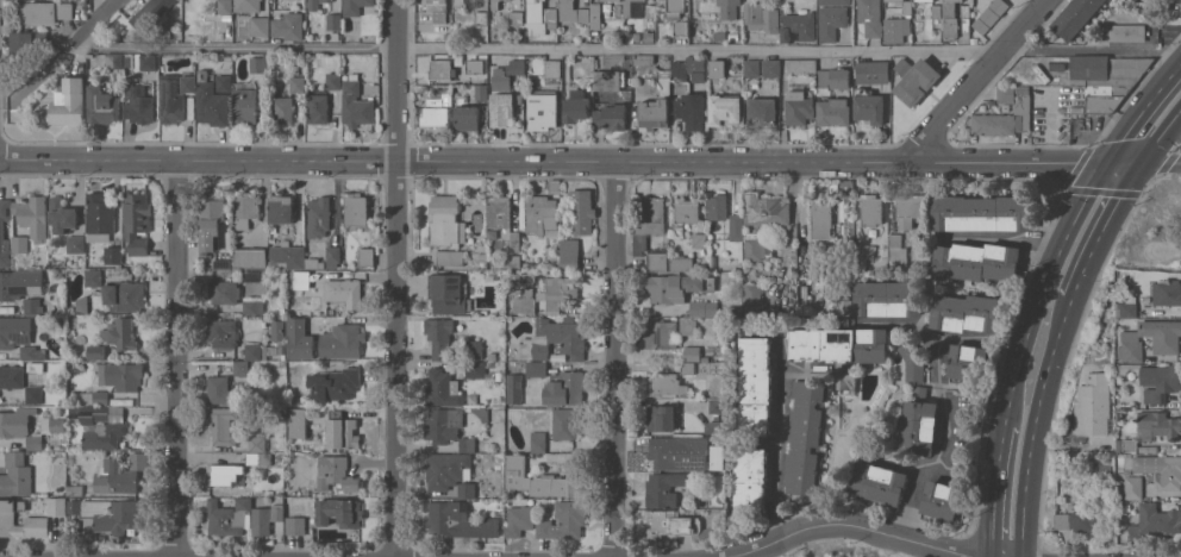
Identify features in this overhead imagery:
building: (924, 0)
building: (460, 2)
building: (835, 2)
building: (315, 4)
building: (495, 4)
building: (246, 6)
building: (355, 6)
building: (906, 6)
building: (671, 7)
building: (225, 8)
building: (626, 8)
building: (729, 8)
building: (437, 10)
building: (1170, 11)
building: (573, 12)
building: (650, 12)
building: (937, 12)
building: (44, 13)
building: (150, 13)
building: (989, 15)
building: (535, 17)
building: (551, 17)
building: (595, 17)
building: (761, 17)
building: (870, 17)
building: (1075, 17)
building: (482, 18)
building: (515, 18)
building: (955, 18)
road: (96, 21)
building: (335, 21)
building: (831, 21)
building: (801, 24)
building: (260, 26)
building: (289, 26)
building: (896, 29)
building: (681, 30)
building: (1126, 32)
building: (720, 36)
building: (649, 37)
building: (26, 44)
road: (627, 49)
building: (643, 58)
building: (114, 61)
building: (148, 62)
building: (260, 64)
building: (475, 67)
building: (515, 67)
building: (552, 67)
building: (717, 67)
building: (801, 67)
building: (902, 67)
building: (752, 68)
building: (770, 68)
building: (687, 69)
building: (1107, 69)
building: (442, 70)
building: (873, 71)
building: (833, 77)
building: (333, 79)
building: (500, 80)
building: (607, 80)
road: (976, 80)
building: (917, 81)
building: (187, 82)
building: (224, 83)
building: (296, 85)
building: (482, 93)
building: (1105, 96)
building: (171, 101)
building: (64, 104)
building: (138, 104)
building: (101, 105)
building: (212, 105)
building: (244, 105)
building: (355, 105)
building: (799, 105)
building: (543, 106)
building: (576, 106)
building: (318, 107)
building: (501, 108)
building: (869, 108)
building: (1023, 108)
building: (282, 109)
building: (723, 109)
building: (761, 109)
building: (691, 111)
building: (833, 111)
road: (1142, 112)
building: (437, 114)
building: (652, 114)
building: (611, 117)
building: (467, 118)
road: (1179, 121)
road: (1162, 133)
road: (1162, 158)
road: (571, 159)
building: (245, 206)
building: (718, 207)
building: (281, 208)
building: (908, 208)
building: (356, 209)
building: (687, 209)
building: (766, 209)
building: (871, 209)
building: (581, 211)
building: (101, 212)
building: (500, 212)
building: (540, 213)
building: (983, 213)
building: (32, 214)
building: (62, 215)
building: (212, 217)
building: (318, 217)
building: (821, 218)
building: (649, 219)
building: (137, 221)
building: (445, 221)
road: (1102, 225)
building: (737, 227)
building: (2, 230)
building: (19, 243)
building: (76, 244)
building: (758, 248)
building: (896, 251)
building: (569, 254)
building: (113, 255)
building: (332, 256)
building: (287, 257)
building: (365, 257)
building: (449, 257)
building: (249, 258)
building: (657, 262)
building: (976, 262)
building: (681, 263)
building: (94, 277)
road: (396, 277)
building: (300, 278)
building: (18, 283)
building: (673, 287)
road: (1043, 287)
building: (344, 292)
building: (224, 293)
building: (557, 293)
building: (1168, 293)
building: (448, 294)
building: (125, 296)
building: (752, 298)
building: (887, 299)
building: (525, 301)
building: (82, 303)
building: (32, 305)
building: (844, 306)
building: (1129, 306)
building: (252, 307)
building: (704, 308)
building: (967, 313)
building: (6, 332)
building: (668, 332)
building: (223, 333)
building: (120, 334)
building: (279, 336)
building: (439, 337)
building: (299, 339)
building: (554, 340)
building: (342, 342)
building: (838, 345)
building: (1167, 346)
building: (474, 350)
building: (95, 352)
building: (31, 353)
building: (692, 353)
building: (252, 357)
road: (619, 357)
road: (176, 358)
building: (912, 362)
building: (967, 362)
building: (475, 369)
building: (536, 369)
building: (125, 375)
building: (11, 377)
building: (1160, 382)
building: (333, 383)
building: (664, 383)
building: (754, 386)
building: (514, 388)
building: (564, 388)
building: (218, 389)
building: (442, 389)
building: (33, 394)
building: (1094, 403)
building: (662, 418)
building: (15, 421)
building: (117, 421)
building: (298, 423)
building: (1160, 423)
building: (564, 424)
building: (223, 425)
building: (443, 425)
road: (1036, 425)
building: (714, 427)
building: (919, 427)
building: (44, 432)
building: (342, 432)
building: (804, 436)
building: (538, 442)
building: (467, 445)
building: (1127, 445)
building: (258, 451)
building: (679, 452)
road: (776, 459)
road: (932, 465)
building: (448, 470)
building: (1162, 470)
building: (337, 471)
building: (17, 474)
building: (120, 474)
building: (226, 475)
building: (538, 480)
building: (750, 481)
building: (879, 482)
building: (1133, 487)
building: (663, 489)
road: (994, 489)
building: (75, 490)
building: (465, 490)
building: (941, 499)
building: (57, 506)
building: (73, 506)
building: (339, 513)
building: (113, 514)
building: (229, 517)
building: (521, 517)
building: (265, 519)
building: (564, 520)
building: (1080, 520)
building: (1154, 520)
building: (37, 521)
building: (458, 521)
building: (671, 524)
building: (295, 526)
road: (851, 526)
road: (946, 553)
road: (198, 556)

